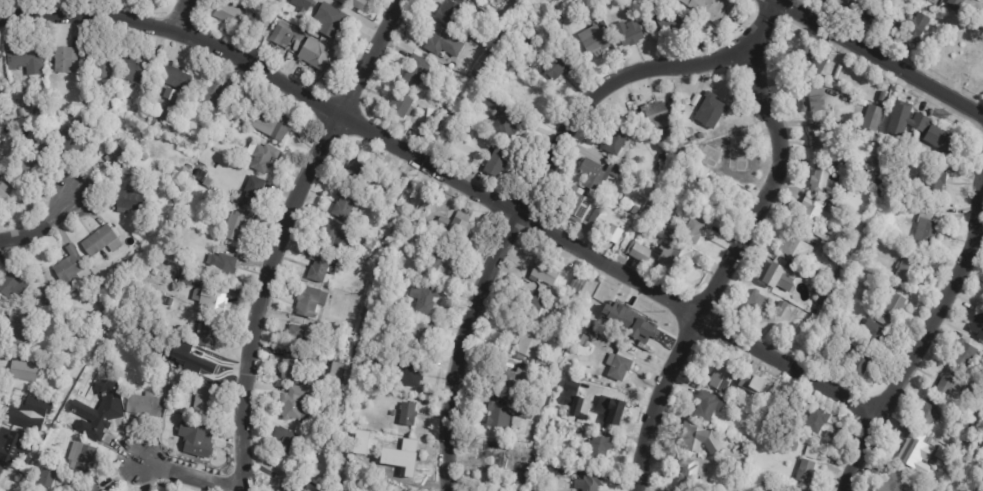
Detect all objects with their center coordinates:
building: (678, 0)
road: (776, 0)
road: (777, 0)
building: (825, 1)
building: (279, 2)
building: (353, 3)
building: (956, 3)
building: (303, 4)
building: (711, 8)
building: (859, 8)
building: (448, 11)
building: (228, 13)
building: (870, 14)
road: (181, 15)
building: (562, 15)
building: (946, 20)
building: (258, 21)
building: (670, 22)
building: (333, 23)
building: (958, 23)
building: (558, 24)
building: (912, 24)
building: (981, 24)
building: (631, 32)
building: (281, 36)
building: (437, 38)
building: (531, 40)
building: (597, 42)
building: (316, 56)
building: (0, 57)
building: (24, 58)
building: (64, 58)
road: (880, 58)
building: (816, 62)
building: (100, 64)
building: (959, 64)
building: (559, 65)
building: (977, 67)
building: (135, 69)
building: (418, 70)
building: (525, 75)
building: (175, 78)
building: (253, 88)
building: (103, 91)
building: (170, 94)
building: (212, 95)
building: (18, 98)
building: (531, 98)
building: (696, 99)
building: (814, 99)
building: (400, 103)
building: (425, 109)
building: (37, 110)
building: (711, 110)
building: (9, 112)
building: (21, 112)
building: (825, 114)
building: (654, 116)
building: (873, 117)
building: (907, 119)
building: (174, 123)
building: (272, 124)
building: (115, 125)
road: (363, 125)
building: (514, 128)
building: (462, 132)
building: (700, 135)
building: (823, 137)
building: (616, 138)
building: (67, 139)
building: (424, 139)
building: (944, 139)
building: (9, 143)
building: (141, 143)
building: (702, 149)
building: (729, 154)
building: (262, 156)
building: (662, 156)
building: (35, 159)
building: (121, 160)
building: (191, 160)
building: (498, 161)
building: (874, 162)
building: (359, 173)
building: (597, 173)
building: (821, 178)
building: (199, 179)
building: (869, 180)
building: (207, 181)
building: (936, 182)
building: (154, 185)
building: (254, 191)
building: (712, 197)
building: (390, 198)
building: (4, 200)
building: (129, 201)
building: (214, 201)
road: (519, 202)
building: (344, 203)
building: (906, 206)
building: (582, 209)
building: (636, 210)
building: (812, 213)
building: (384, 217)
road: (39, 221)
building: (443, 222)
building: (235, 225)
building: (928, 227)
building: (460, 228)
building: (696, 229)
road: (280, 233)
building: (829, 238)
building: (334, 240)
building: (100, 241)
building: (369, 243)
building: (797, 246)
road: (738, 247)
building: (662, 255)
building: (839, 258)
building: (442, 261)
building: (191, 265)
building: (222, 265)
building: (318, 267)
building: (69, 268)
building: (908, 269)
building: (545, 271)
building: (816, 273)
building: (777, 275)
building: (38, 278)
building: (10, 281)
building: (577, 285)
building: (819, 289)
building: (204, 292)
building: (42, 295)
building: (425, 298)
building: (164, 299)
building: (839, 299)
building: (309, 301)
building: (170, 302)
building: (529, 304)
building: (895, 304)
building: (757, 305)
building: (781, 309)
building: (836, 310)
building: (622, 313)
building: (383, 317)
building: (882, 320)
building: (978, 324)
building: (511, 326)
building: (18, 328)
building: (177, 331)
building: (642, 331)
road: (925, 332)
building: (874, 333)
building: (207, 334)
building: (419, 335)
building: (295, 337)
building: (585, 341)
building: (173, 342)
building: (529, 342)
building: (370, 345)
building: (964, 354)
building: (862, 360)
building: (542, 361)
building: (501, 364)
building: (550, 364)
building: (198, 365)
building: (620, 365)
building: (295, 367)
road: (791, 367)
building: (337, 369)
building: (23, 370)
building: (415, 375)
building: (550, 375)
building: (105, 376)
building: (178, 381)
building: (736, 381)
building: (513, 382)
building: (952, 384)
building: (296, 402)
building: (575, 402)
building: (202, 403)
building: (13, 405)
building: (144, 405)
building: (708, 406)
building: (607, 409)
building: (558, 411)
building: (30, 413)
building: (104, 413)
building: (508, 413)
building: (408, 414)
building: (979, 414)
building: (929, 416)
building: (48, 420)
building: (817, 420)
building: (963, 421)
building: (975, 428)
building: (189, 435)
building: (360, 438)
building: (699, 438)
building: (288, 442)
building: (167, 445)
building: (794, 445)
building: (967, 445)
building: (9, 447)
building: (24, 447)
building: (599, 448)
building: (916, 450)
building: (398, 452)
building: (545, 453)
building: (812, 453)
building: (500, 455)
building: (529, 455)
building: (22, 456)
building: (942, 457)
building: (81, 458)
building: (981, 460)
building: (742, 463)
building: (527, 468)
building: (977, 469)
building: (1, 470)
building: (806, 472)
building: (688, 474)
road: (177, 475)
building: (959, 476)
building: (47, 478)
building: (970, 480)
building: (894, 482)
building: (955, 482)
building: (592, 483)
building: (297, 485)
building: (769, 485)
building: (979, 488)
building: (94, 489)

